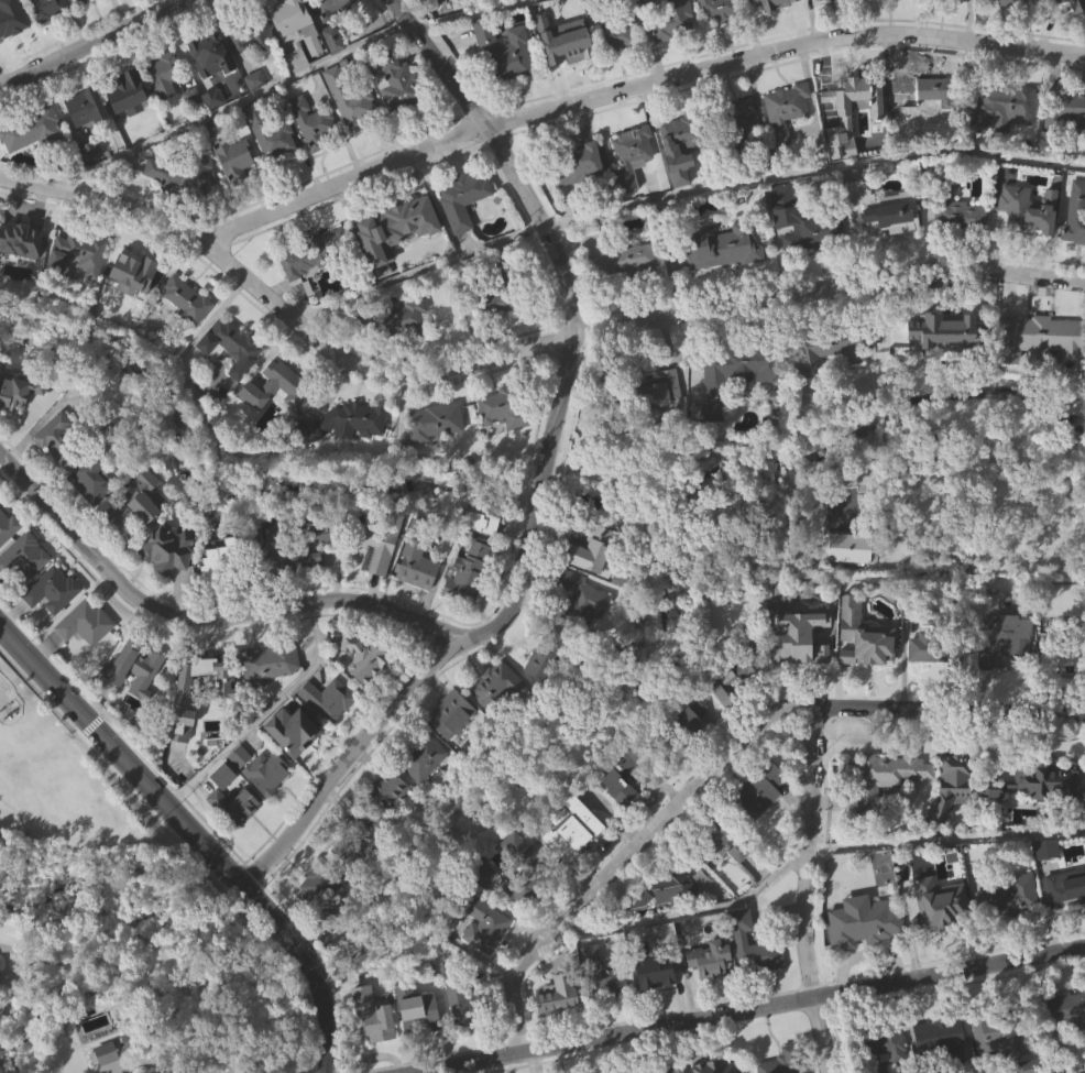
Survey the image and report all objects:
building: (828, 0)
building: (84, 2)
building: (1010, 2)
building: (427, 6)
building: (560, 6)
building: (127, 7)
building: (330, 8)
building: (471, 8)
building: (764, 8)
building: (1078, 8)
building: (45, 9)
building: (720, 10)
building: (890, 11)
building: (954, 14)
building: (86, 18)
building: (1000, 18)
building: (671, 19)
building: (289, 23)
building: (645, 23)
building: (1060, 23)
building: (11, 24)
building: (44, 31)
building: (614, 31)
building: (336, 32)
building: (721, 36)
building: (250, 39)
building: (568, 43)
building: (12, 46)
building: (673, 46)
road: (102, 47)
building: (206, 48)
building: (293, 50)
building: (503, 52)
building: (617, 66)
building: (251, 70)
building: (163, 74)
building: (565, 74)
road: (274, 80)
building: (398, 84)
building: (505, 84)
building: (211, 86)
road: (632, 88)
building: (927, 91)
building: (128, 95)
building: (350, 100)
building: (857, 100)
building: (999, 105)
building: (85, 107)
building: (165, 107)
building: (1071, 109)
building: (786, 112)
building: (396, 114)
building: (738, 120)
building: (311, 122)
building: (927, 124)
building: (130, 125)
building: (194, 128)
building: (31, 130)
building: (213, 130)
building: (351, 132)
building: (271, 133)
building: (87, 139)
building: (787, 141)
building: (1000, 141)
building: (680, 142)
building: (1066, 142)
building: (743, 151)
building: (315, 155)
building: (633, 156)
building: (233, 157)
building: (33, 162)
building: (578, 164)
building: (271, 165)
building: (182, 174)
building: (91, 180)
building: (679, 180)
building: (633, 188)
building: (235, 189)
road: (679, 195)
building: (463, 199)
building: (580, 200)
building: (183, 205)
building: (955, 209)
building: (891, 213)
building: (1075, 216)
building: (393, 220)
building: (805, 222)
building: (464, 231)
building: (22, 237)
building: (883, 238)
building: (957, 241)
building: (1029, 241)
building: (721, 248)
building: (1075, 248)
building: (77, 255)
building: (306, 258)
building: (808, 260)
building: (396, 261)
building: (624, 261)
building: (6, 270)
building: (135, 281)
building: (724, 281)
building: (78, 287)
building: (307, 293)
building: (625, 294)
building: (186, 300)
building: (490, 302)
building: (135, 305)
building: (401, 317)
building: (187, 332)
building: (944, 339)
building: (1042, 339)
building: (230, 341)
road: (516, 348)
building: (834, 350)
building: (397, 351)
building: (742, 365)
building: (1038, 370)
building: (835, 377)
building: (232, 379)
building: (22, 387)
building: (281, 387)
building: (656, 393)
building: (737, 403)
building: (506, 408)
building: (278, 418)
building: (435, 421)
building: (18, 424)
building: (346, 424)
building: (661, 424)
building: (69, 435)
building: (502, 439)
building: (714, 445)
building: (435, 453)
building: (344, 455)
road: (548, 477)
building: (92, 479)
building: (136, 496)
building: (91, 512)
building: (481, 521)
building: (8, 525)
building: (144, 527)
building: (314, 538)
building: (379, 538)
building: (164, 547)
building: (591, 549)
building: (267, 550)
building: (24, 555)
building: (418, 556)
building: (222, 560)
building: (315, 568)
building: (468, 573)
building: (379, 579)
building: (168, 580)
building: (274, 580)
building: (593, 583)
building: (25, 588)
building: (52, 590)
building: (219, 591)
building: (313, 591)
building: (581, 596)
building: (419, 600)
building: (469, 605)
building: (53, 622)
building: (85, 622)
road: (200, 622)
building: (808, 627)
building: (583, 631)
building: (867, 636)
building: (1001, 637)
building: (934, 640)
building: (1065, 645)
building: (87, 654)
building: (551, 655)
building: (362, 656)
building: (268, 661)
building: (135, 665)
building: (802, 668)
building: (865, 668)
building: (1007, 670)
building: (209, 675)
building: (933, 682)
building: (725, 687)
building: (363, 689)
building: (1062, 689)
building: (498, 690)
building: (270, 694)
building: (544, 694)
building: (328, 698)
building: (138, 699)
building: (734, 712)
building: (450, 713)
road: (262, 714)
building: (496, 716)
building: (689, 726)
building: (329, 731)
building: (292, 732)
building: (184, 735)
building: (452, 747)
building: (693, 749)
building: (420, 756)
road: (120, 758)
road: (725, 760)
building: (294, 762)
building: (260, 769)
building: (628, 776)
building: (886, 779)
building: (954, 781)
building: (1044, 784)
building: (241, 788)
building: (424, 789)
building: (384, 791)
building: (758, 792)
building: (267, 804)
building: (234, 806)
building: (888, 808)
building: (623, 813)
building: (953, 814)
building: (1041, 814)
building: (390, 821)
building: (761, 823)
building: (574, 831)
building: (237, 835)
road: (947, 840)
building: (355, 842)
building: (731, 844)
building: (1048, 848)
building: (573, 862)
building: (525, 868)
building: (726, 876)
building: (487, 877)
building: (318, 886)
road: (805, 889)
building: (664, 890)
building: (1065, 890)
building: (1009, 896)
building: (940, 901)
road: (690, 909)
building: (1065, 918)
building: (314, 919)
building: (664, 921)
building: (866, 922)
building: (484, 924)
building: (1010, 930)
building: (940, 934)
building: (755, 946)
building: (485, 955)
building: (711, 959)
building: (653, 967)
building: (603, 973)
road: (306, 974)
building: (756, 977)
building: (711, 990)
building: (560, 994)
building: (467, 1001)
building: (603, 1001)
building: (656, 1004)
building: (417, 1009)
road: (750, 1009)
building: (1065, 1009)
building: (373, 1016)
building: (560, 1028)
building: (996, 1032)
building: (461, 1036)
building: (942, 1039)
building: (1064, 1039)
building: (418, 1041)
building: (374, 1047)
building: (883, 1048)
road: (277, 1058)
building: (783, 1062)
building: (940, 1062)
building: (1001, 1062)
building: (720, 1065)
building: (886, 1067)
building: (670, 1070)
building: (120, 1072)
road: (1083, 1072)

